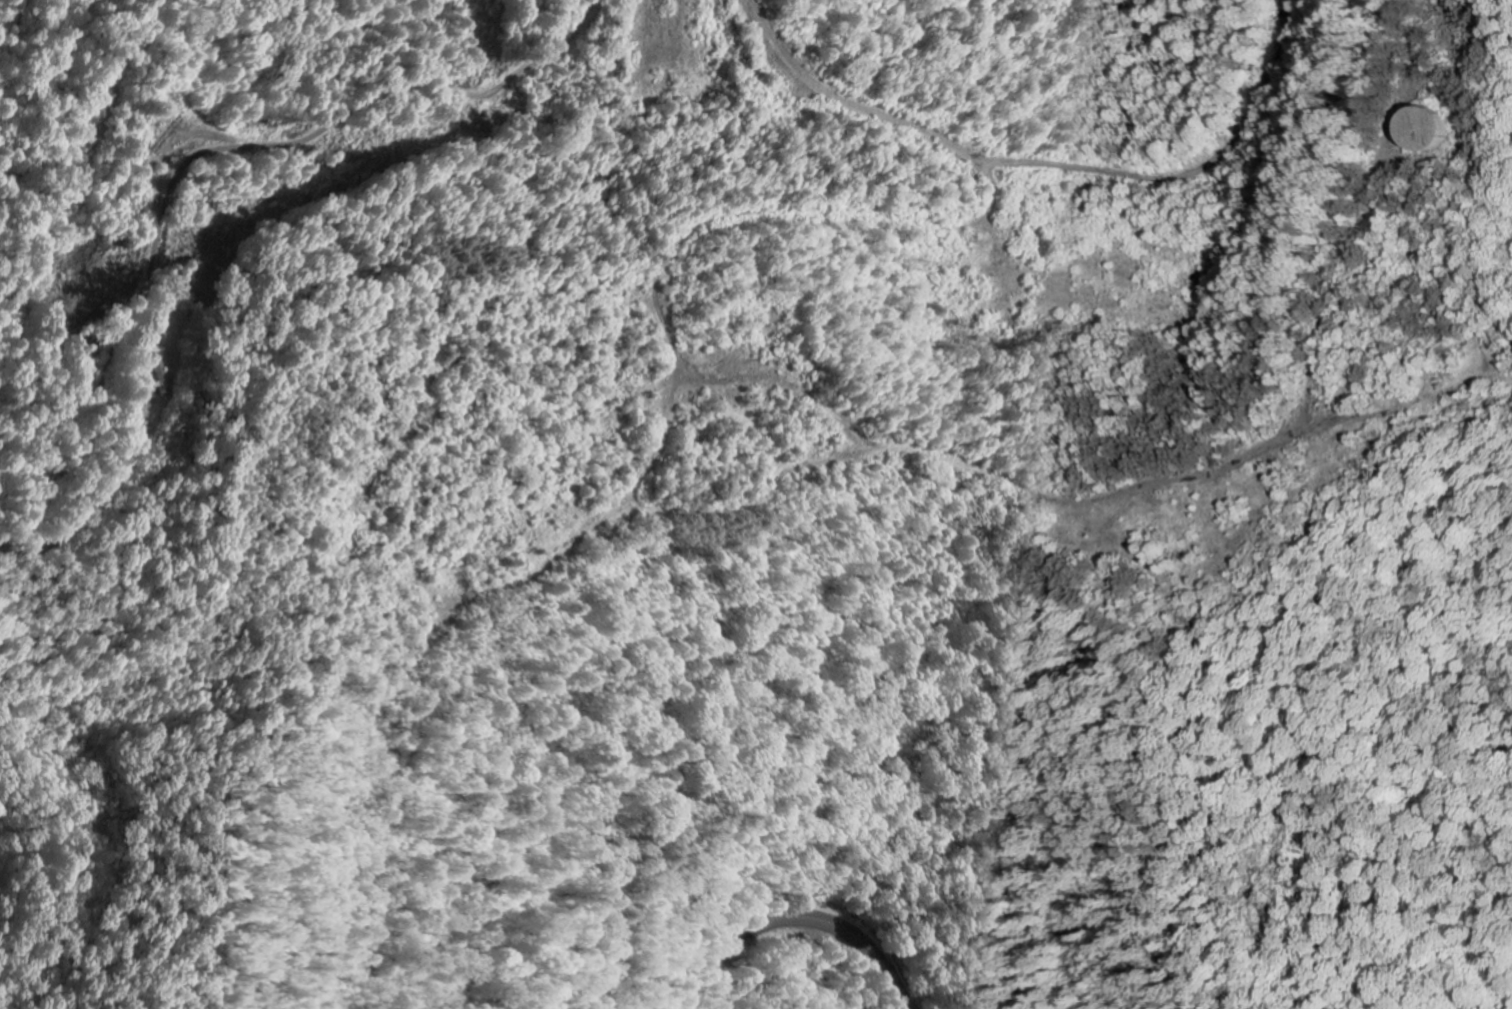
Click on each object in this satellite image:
building: (1436, 130)
road: (203, 154)
road: (391, 805)
road: (801, 918)

